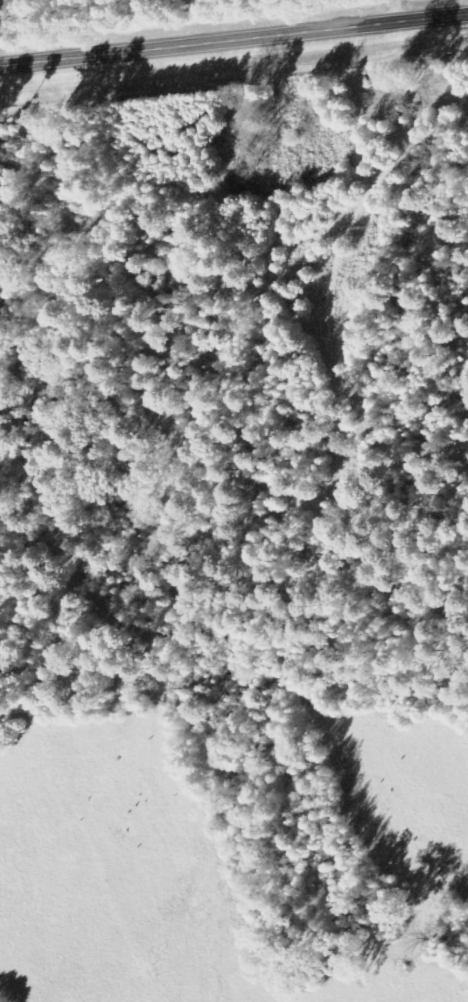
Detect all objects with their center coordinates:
airport: (8, 4)
road: (234, 40)

